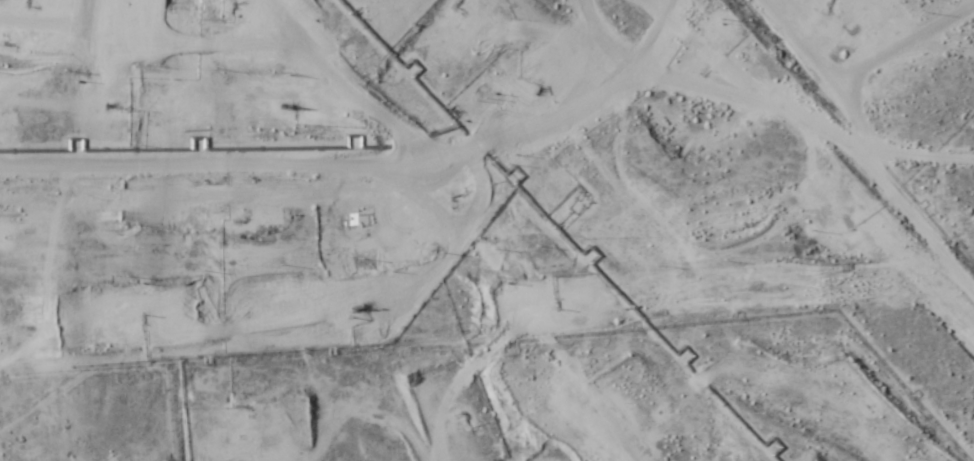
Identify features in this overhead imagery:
road: (824, 152)

